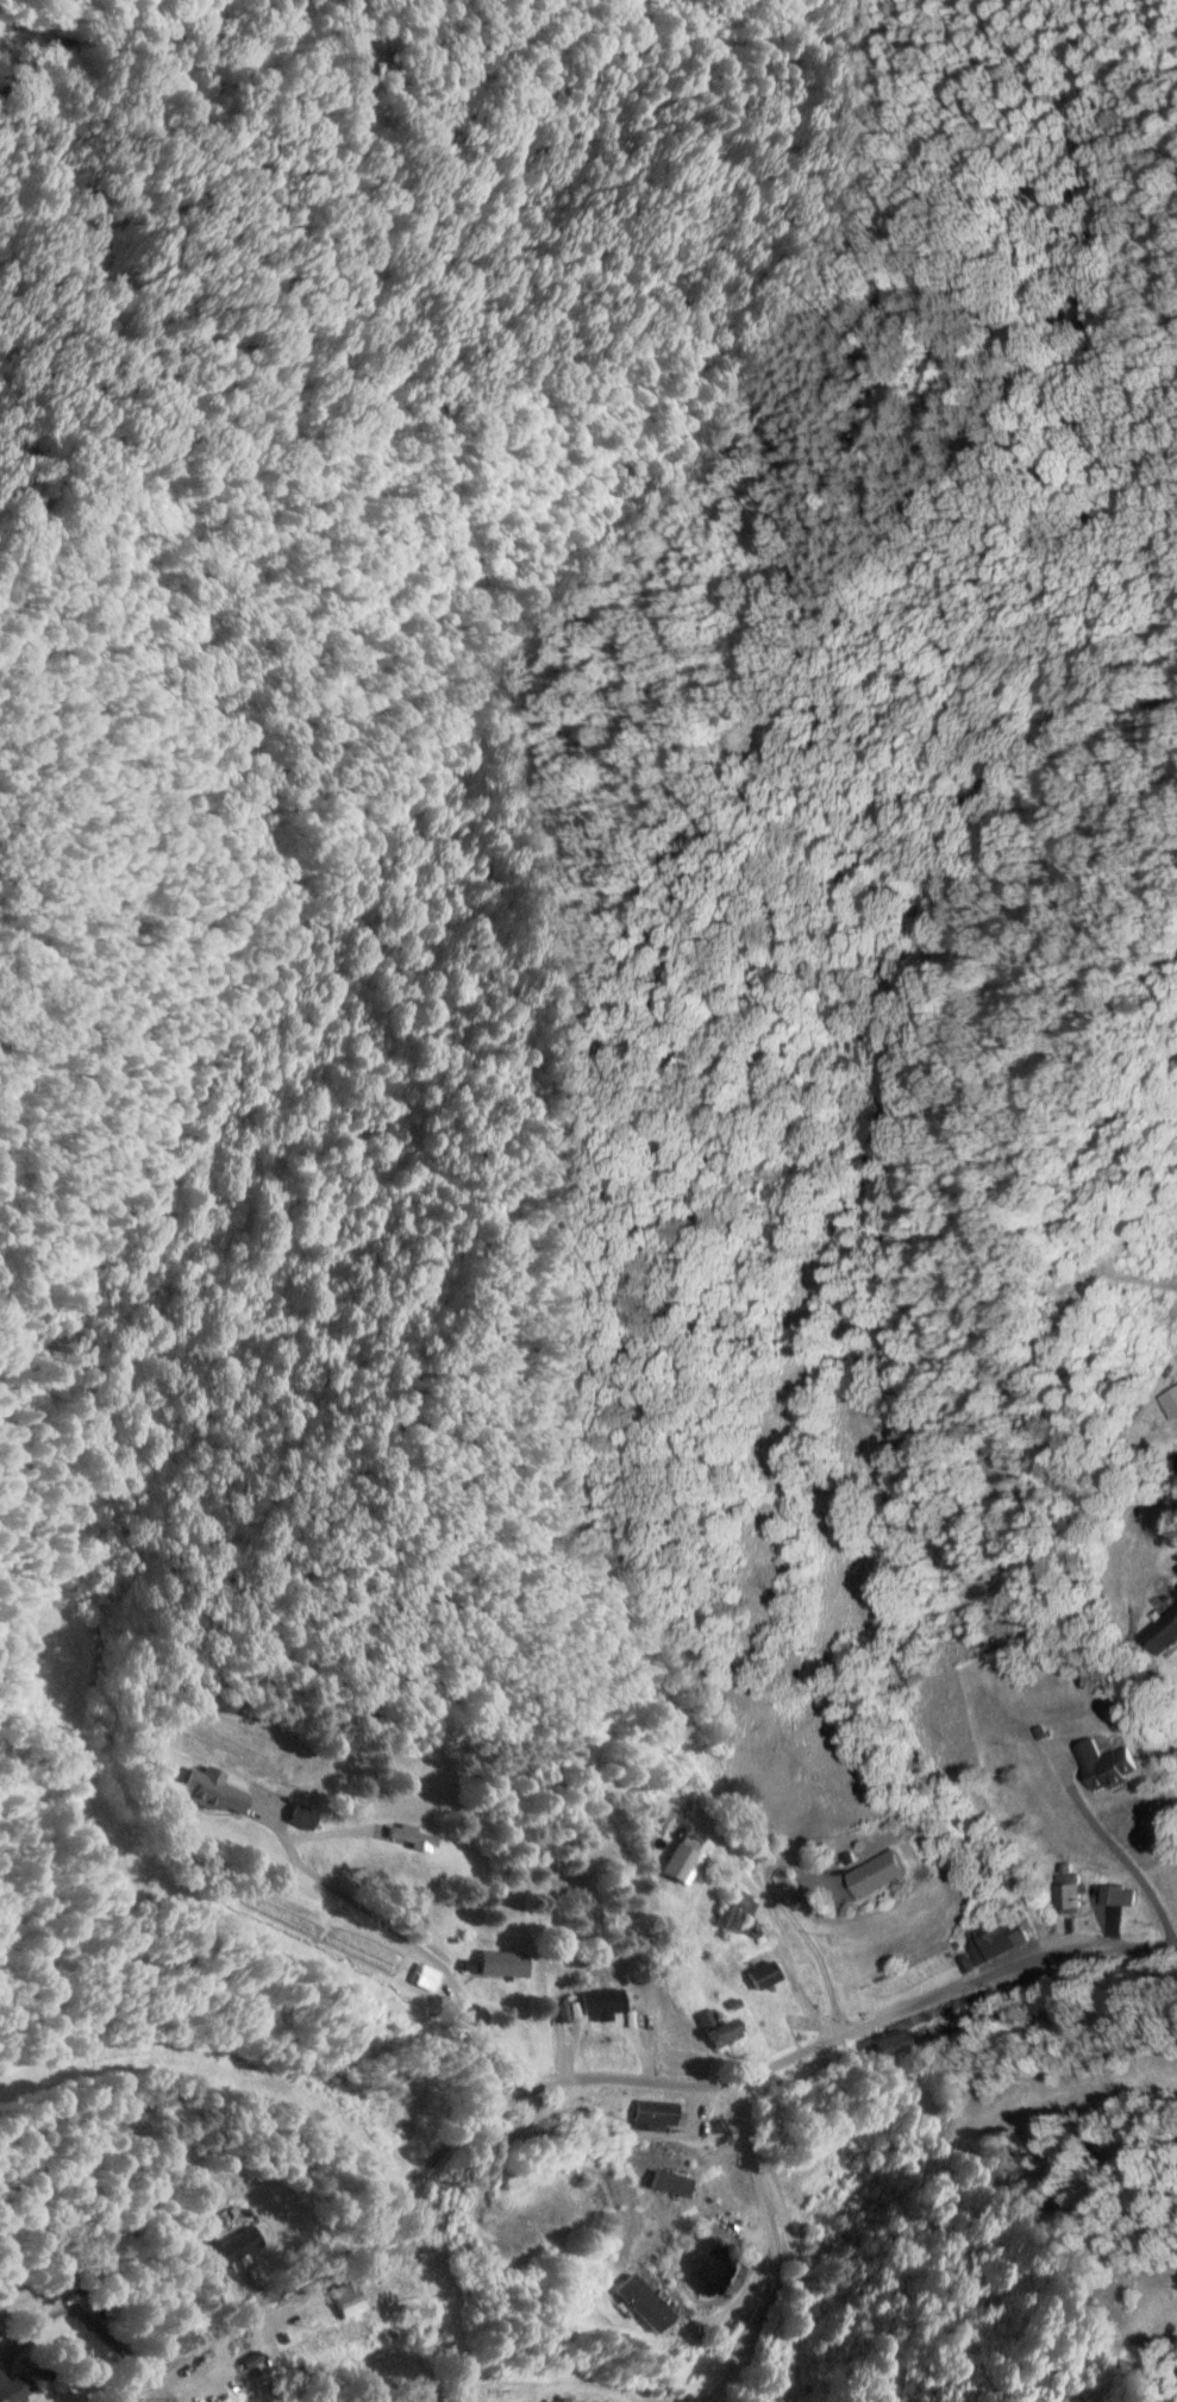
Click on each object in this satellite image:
building: (1167, 1400)
building: (1160, 1631)
building: (1098, 1762)
building: (219, 1790)
building: (307, 1814)
building: (415, 1835)
building: (688, 1862)
building: (868, 1874)
building: (1063, 1896)
building: (730, 1909)
road: (400, 1937)
building: (996, 1937)
building: (509, 1963)
building: (760, 1975)
building: (428, 1977)
building: (611, 1999)
building: (713, 2027)
building: (885, 2044)
road: (593, 2078)
building: (820, 2203)
building: (238, 2245)
building: (352, 2297)
building: (639, 2303)
building: (29, 2382)
building: (772, 2400)
building: (565, 2401)

